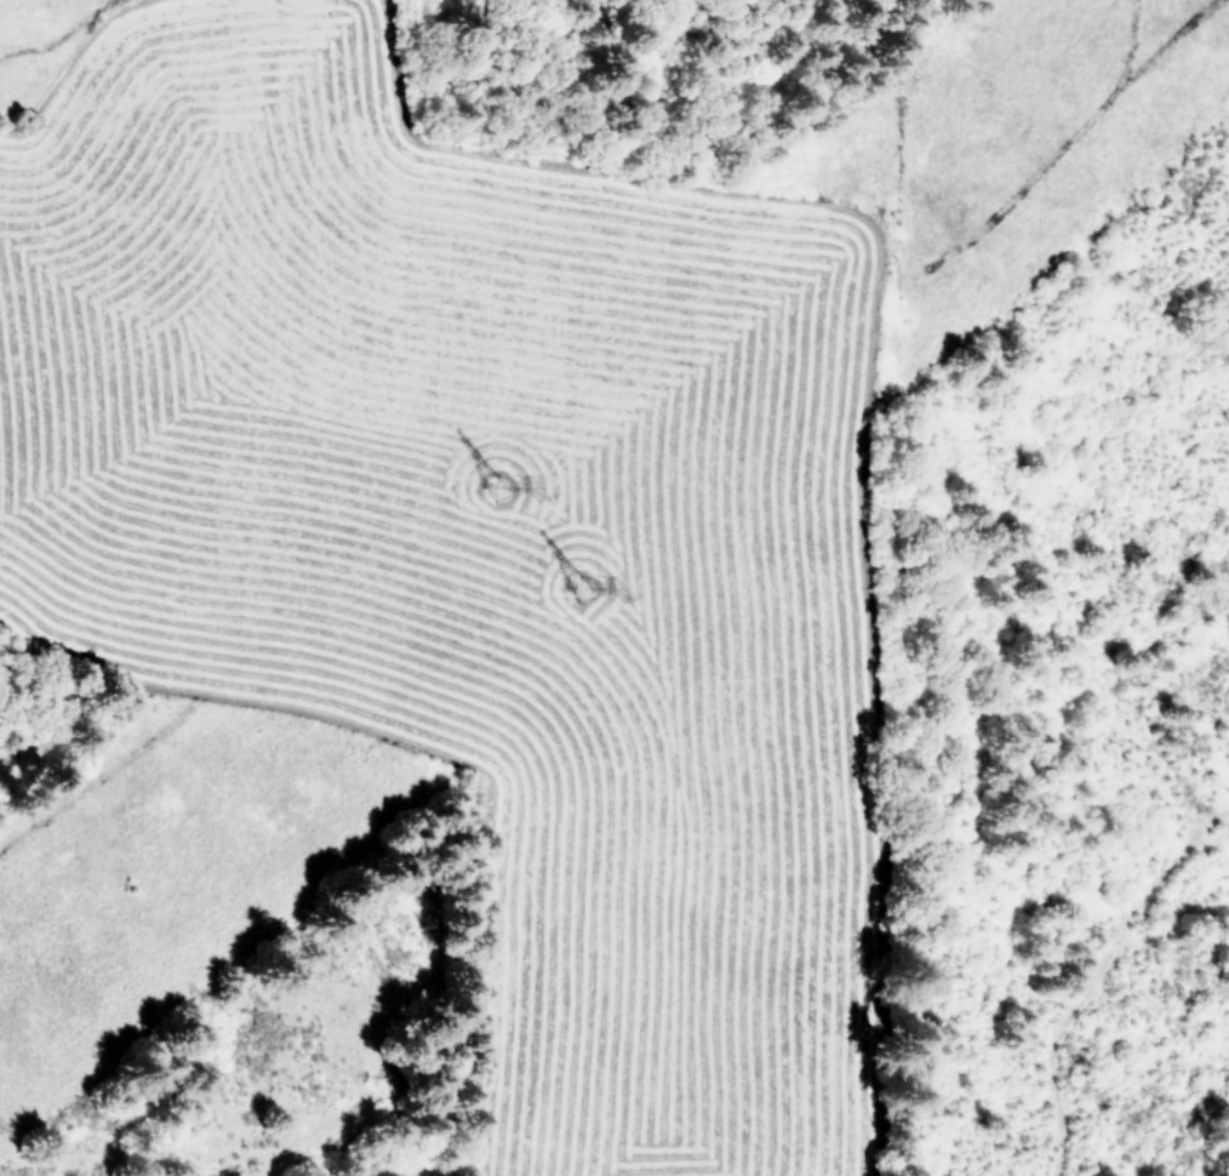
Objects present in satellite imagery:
crop: (269, 302)
power tower: (502, 483)
power tower: (584, 587)
road: (1092, 974)

